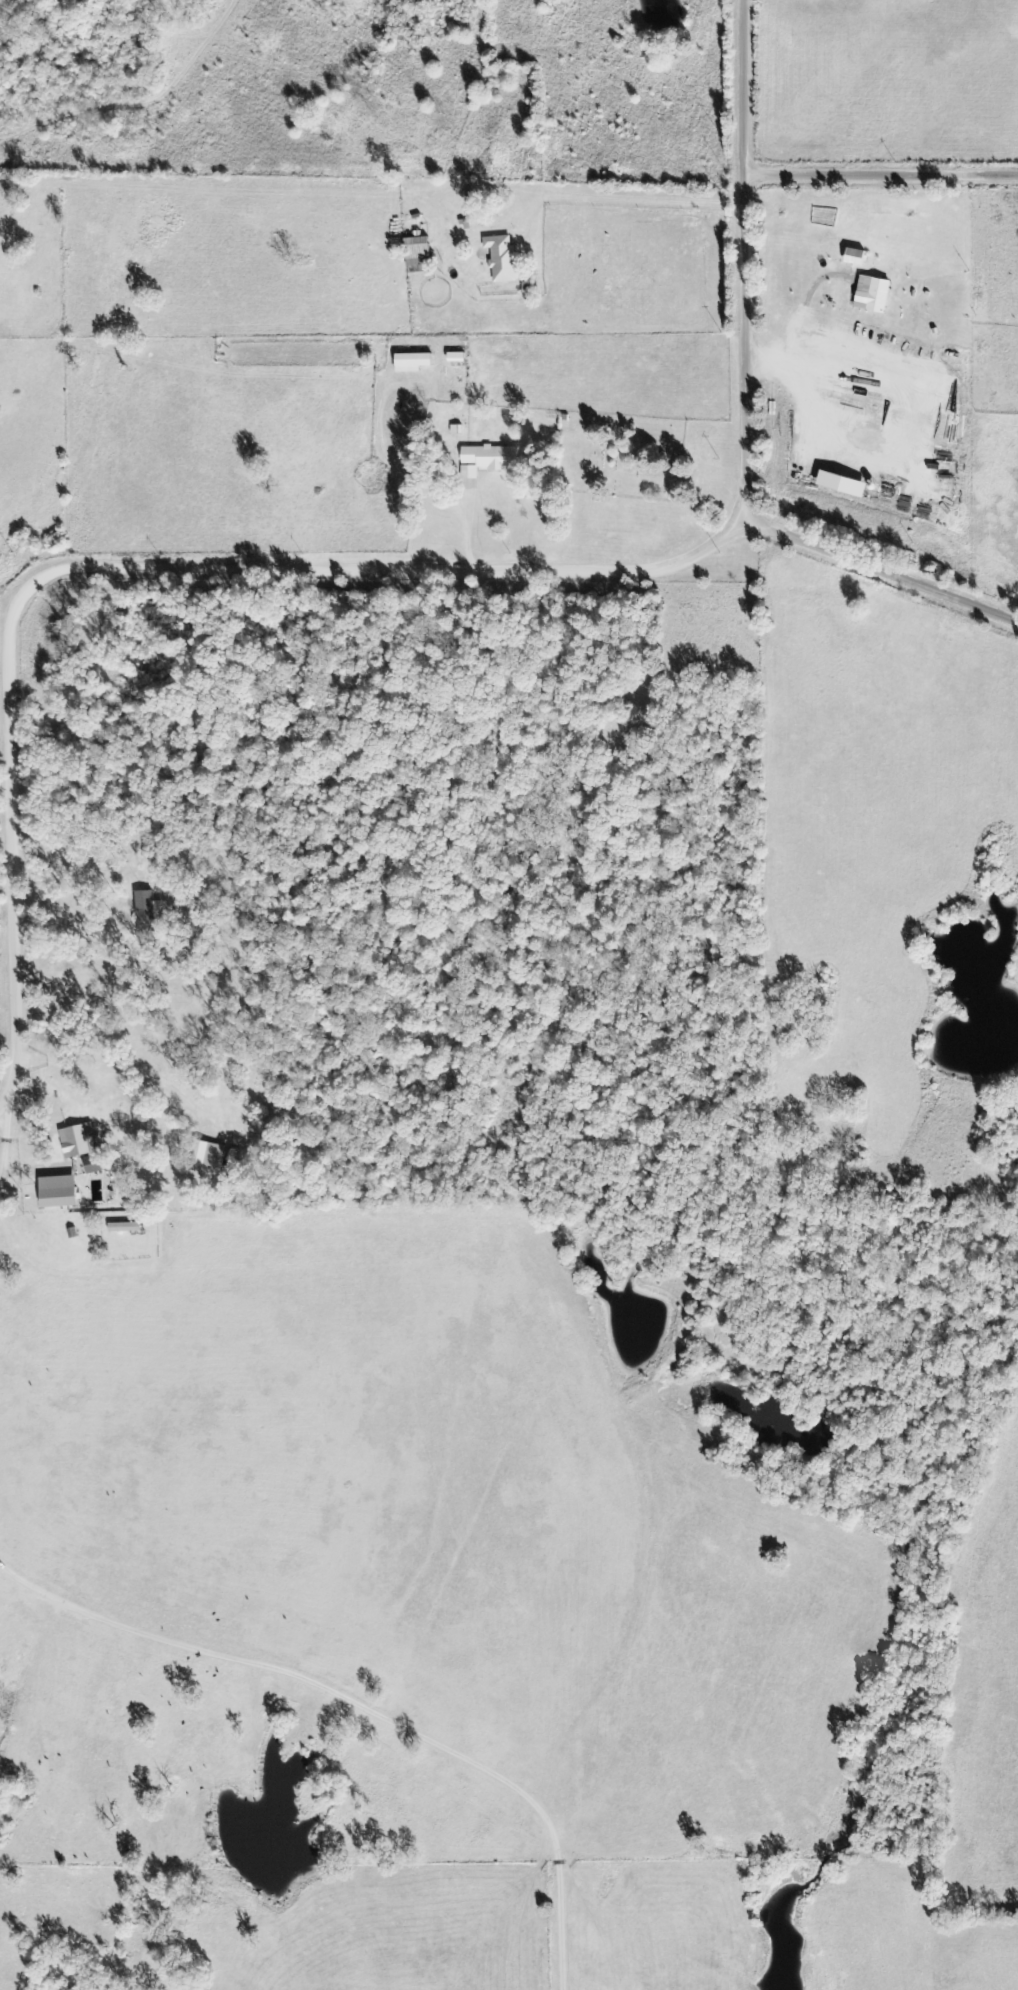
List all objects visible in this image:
road: (885, 176)
building: (419, 253)
building: (504, 260)
building: (875, 295)
building: (415, 363)
road: (754, 397)
park: (617, 457)
building: (490, 461)
road: (147, 569)
building: (151, 908)
building: (80, 1142)
building: (211, 1156)
building: (96, 1164)
building: (62, 1193)
building: (126, 1228)

